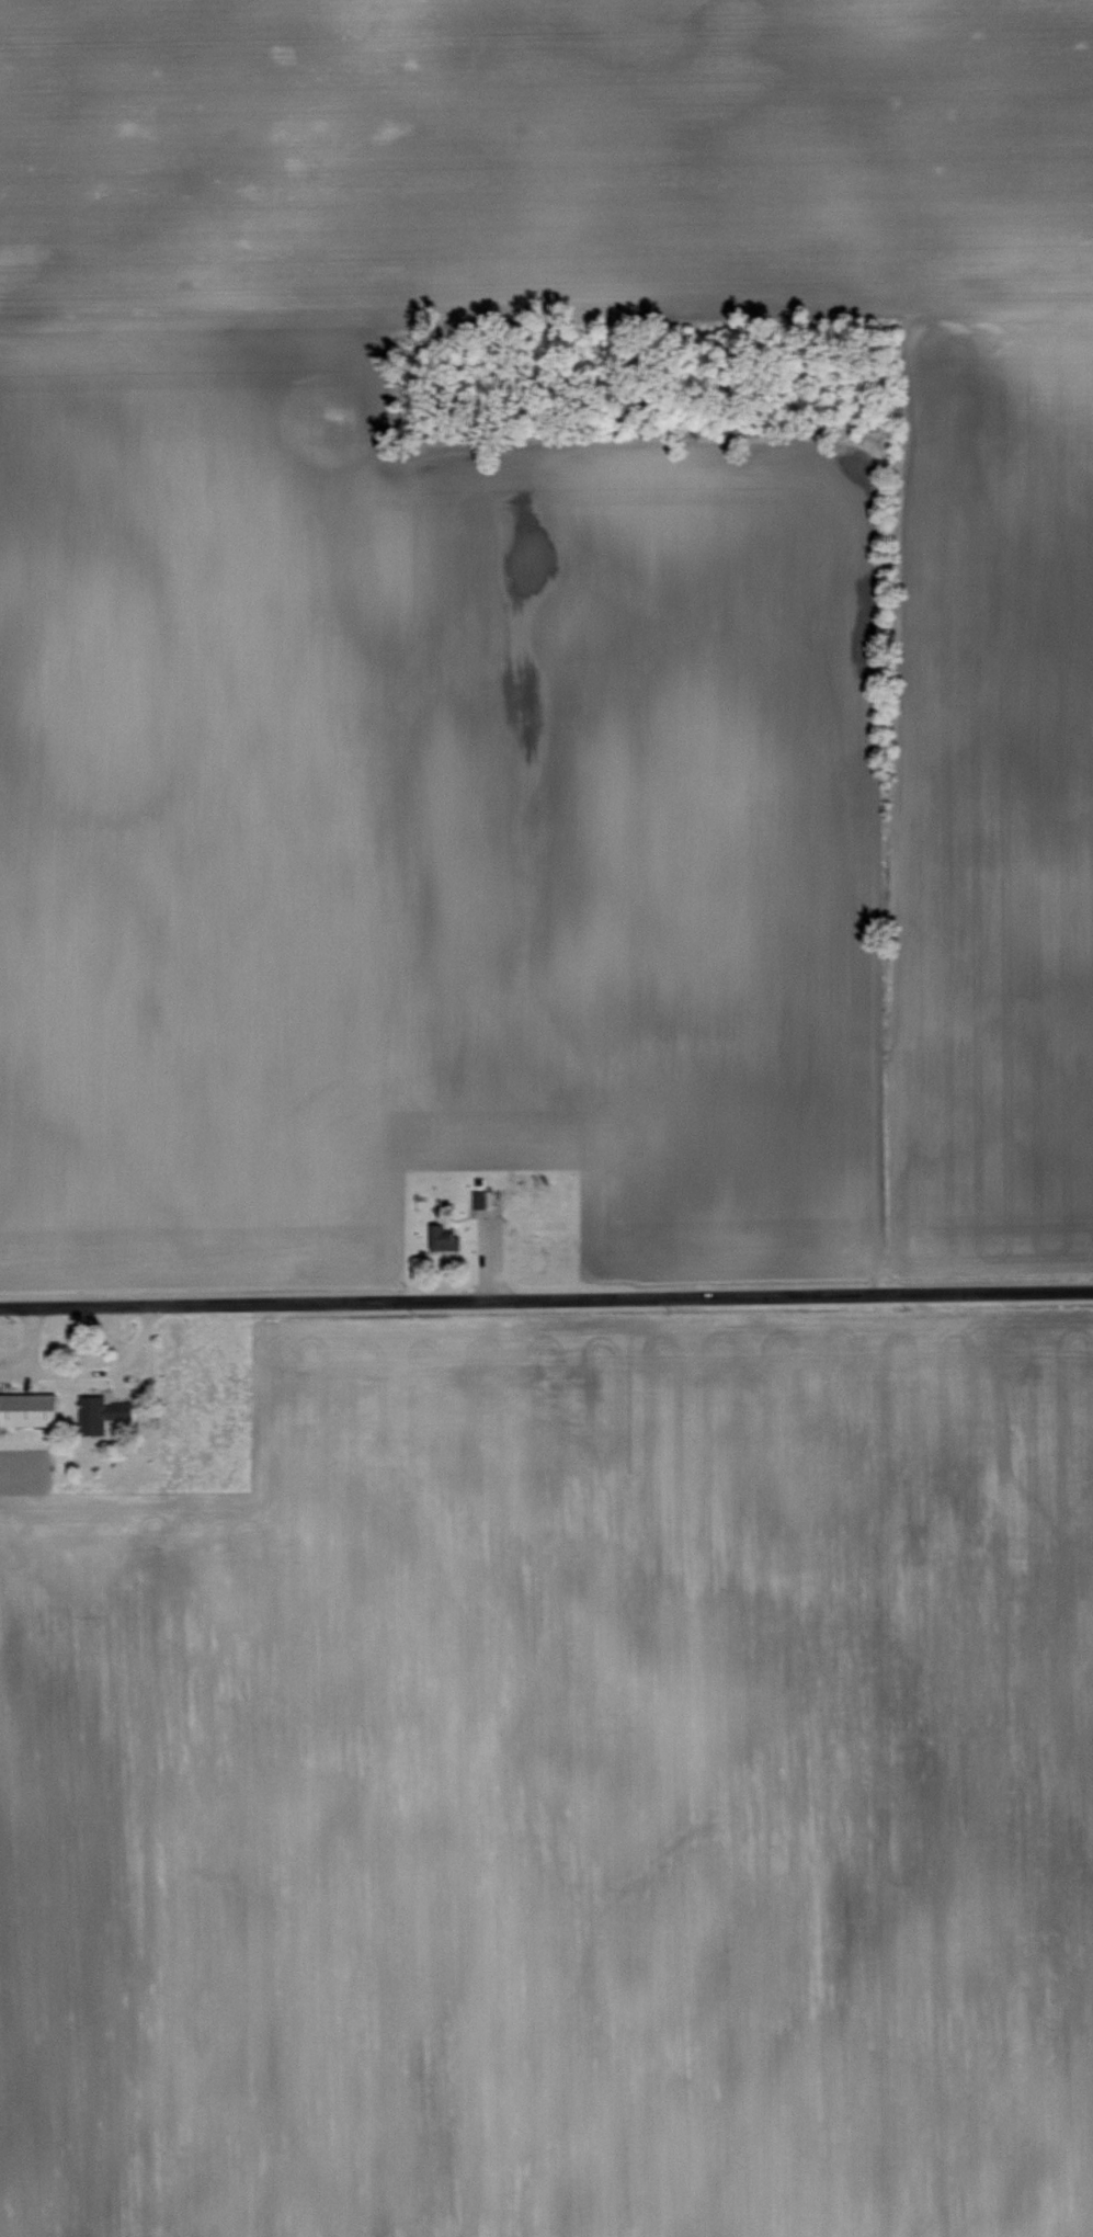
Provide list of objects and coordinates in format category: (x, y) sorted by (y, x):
building: (443, 1236)
road: (546, 1298)
road: (19, 1367)
road: (86, 1375)
road: (151, 1379)
building: (29, 1408)
building: (104, 1411)

